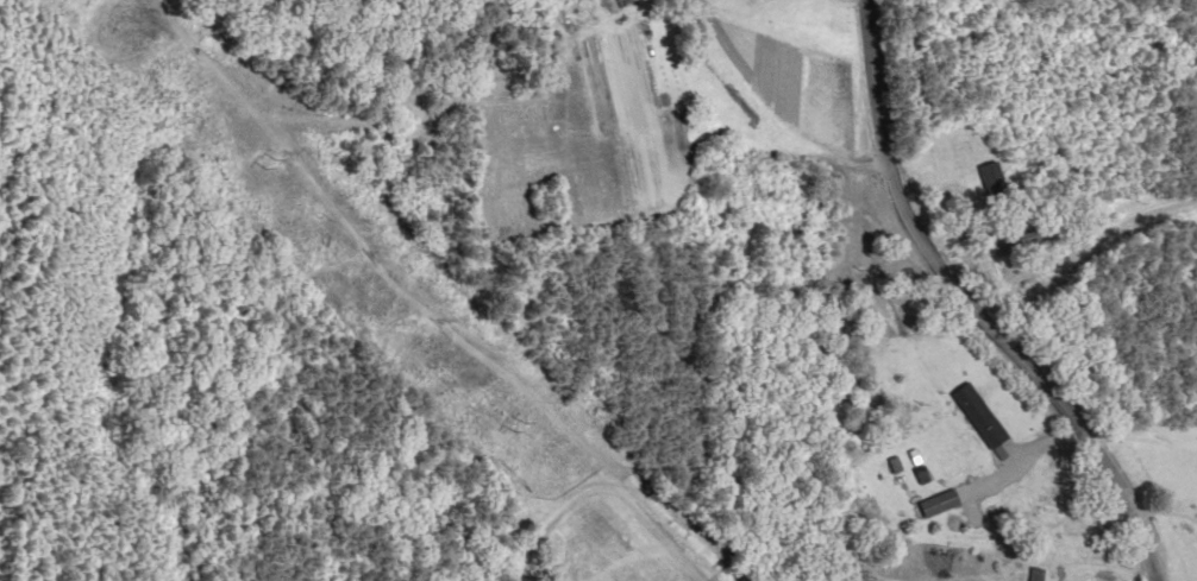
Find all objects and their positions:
building: (994, 178)
road: (990, 302)
building: (982, 415)

